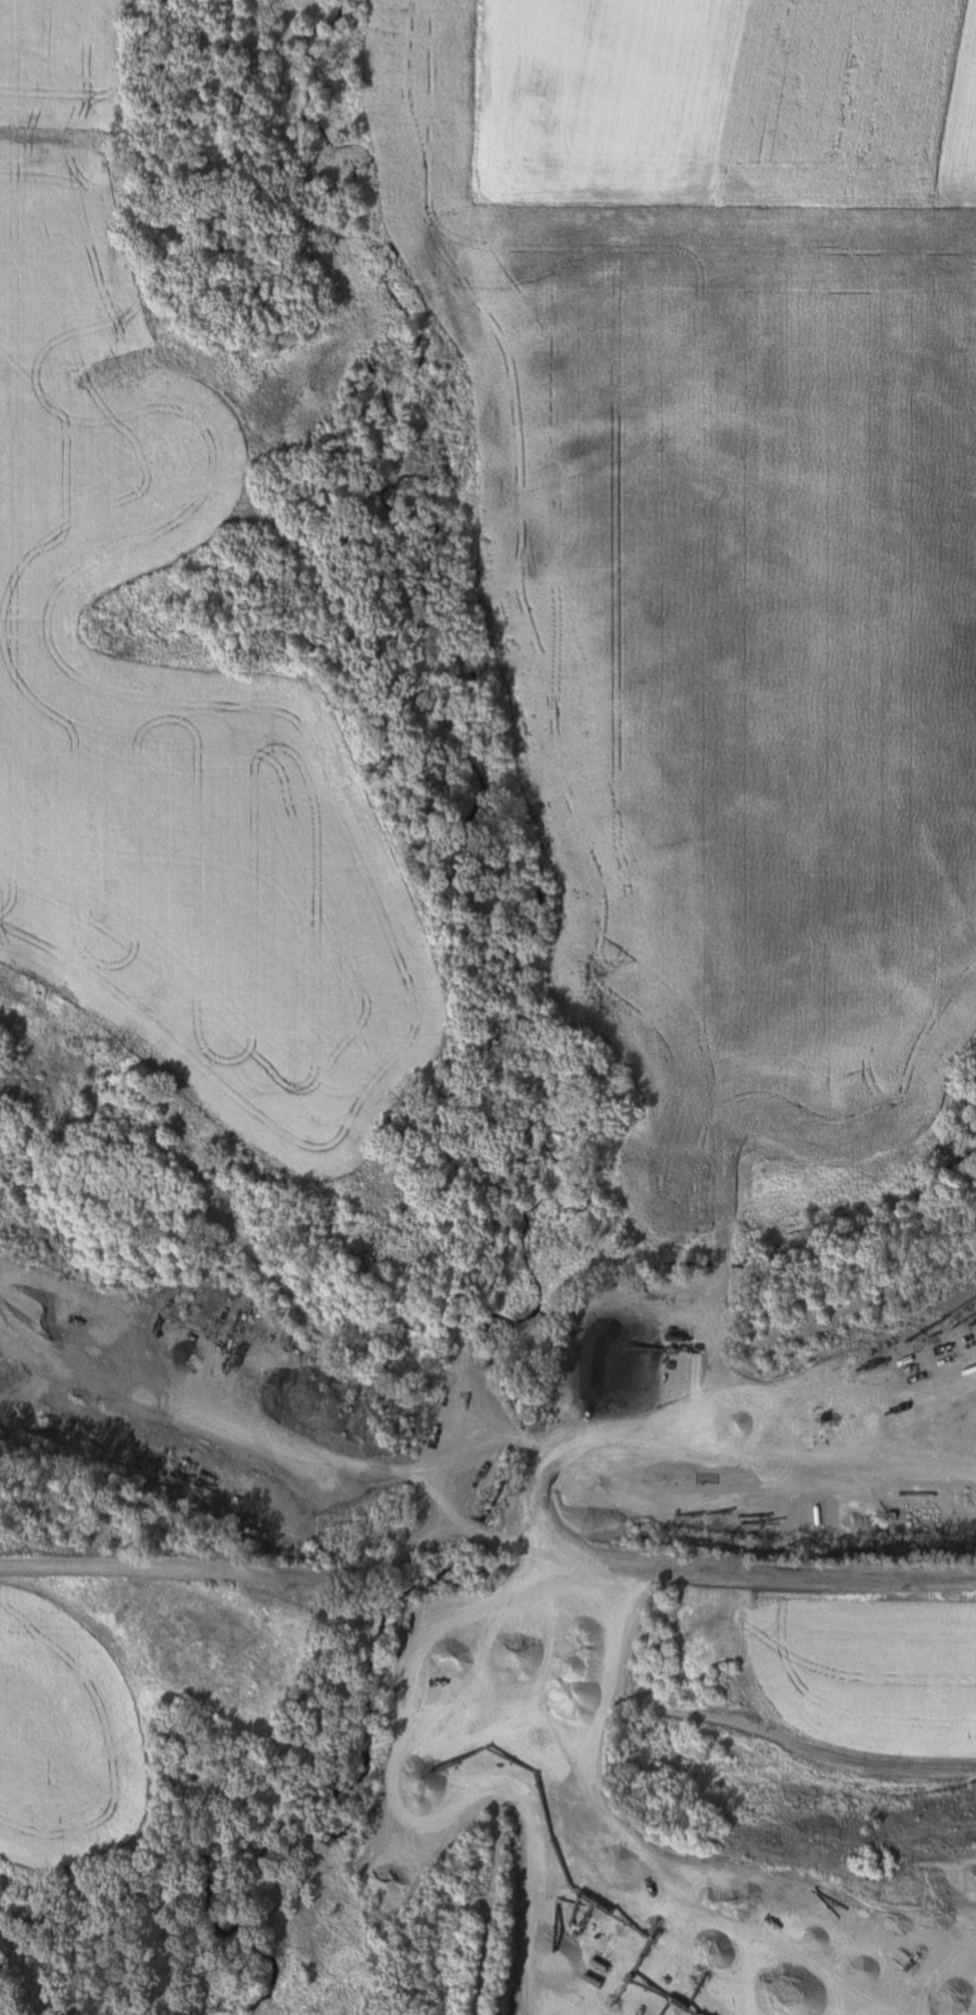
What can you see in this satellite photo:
road: (484, 1544)

